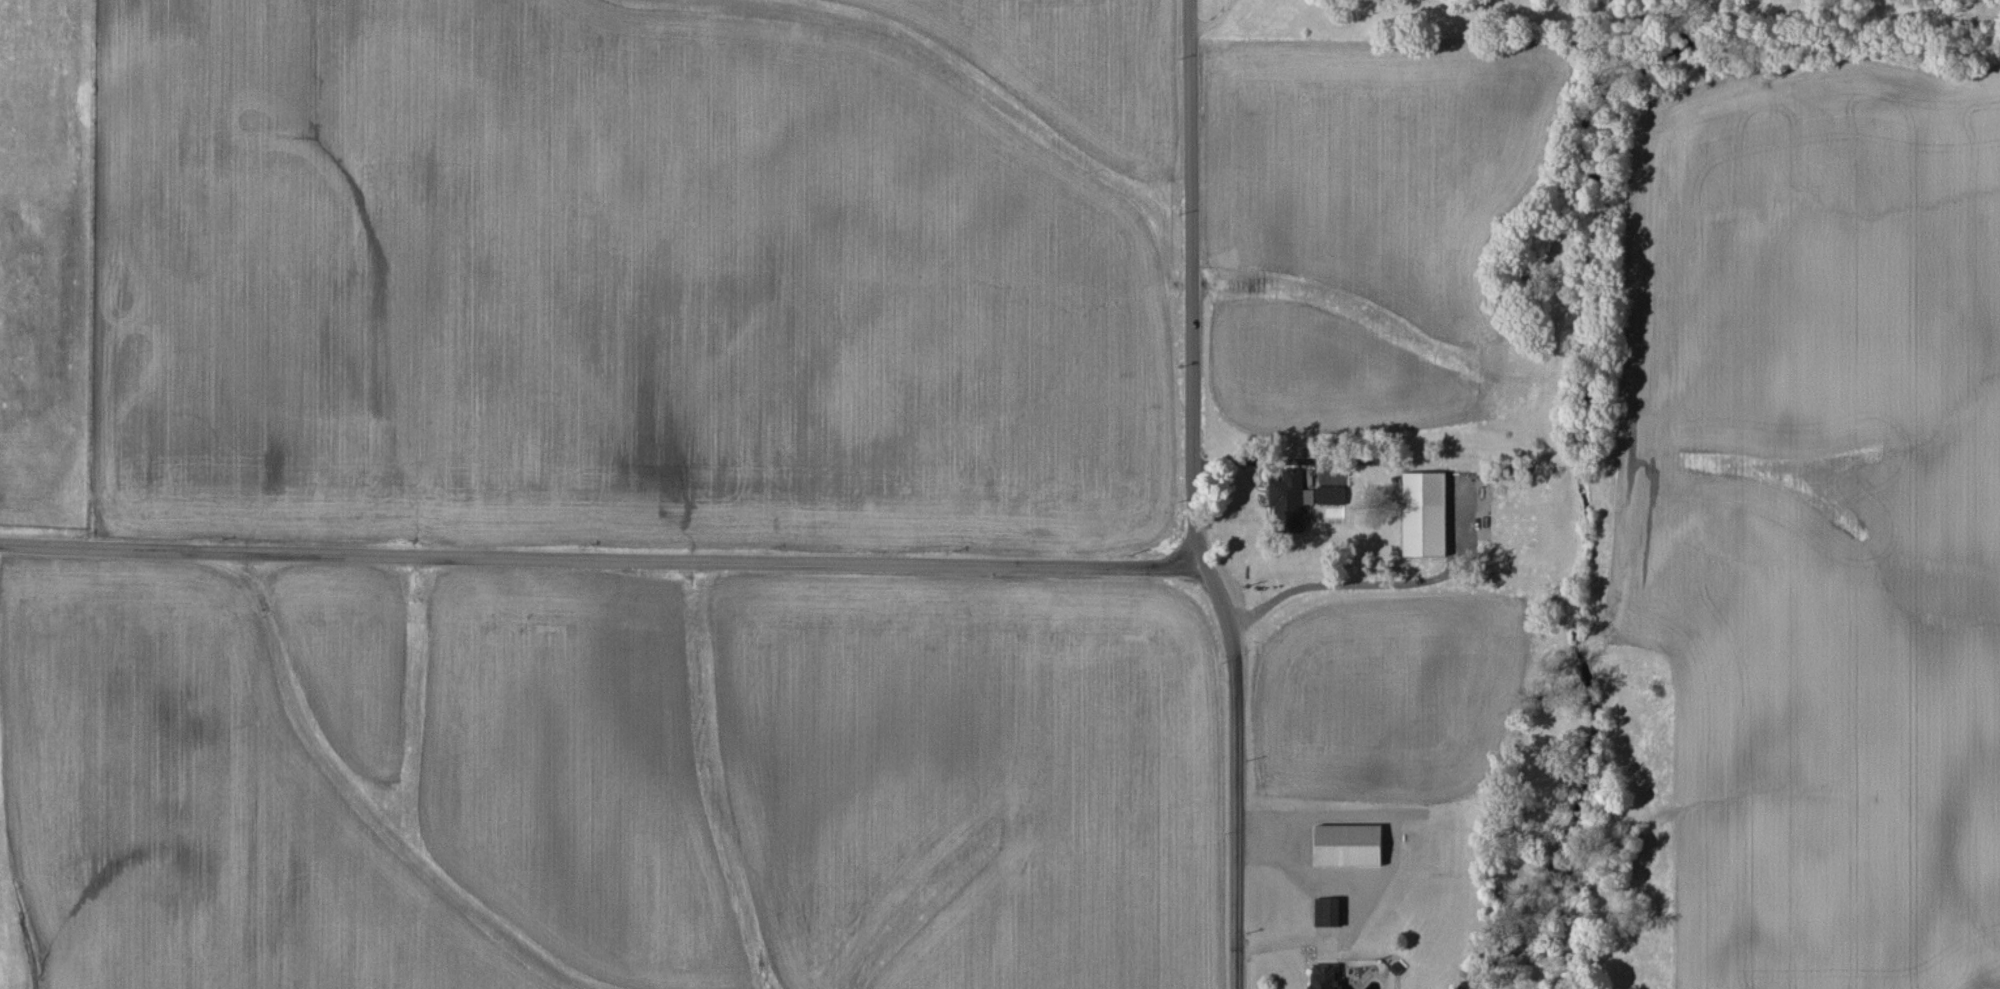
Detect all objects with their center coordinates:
road: (1214, 20)
airport: (45, 261)
road: (1268, 461)
building: (1330, 495)
road: (1195, 497)
building: (1289, 500)
building: (1424, 514)
road: (603, 561)
road: (1336, 589)
building: (1348, 845)
road: (1351, 903)
building: (1328, 912)
road: (1290, 965)
building: (1326, 976)

